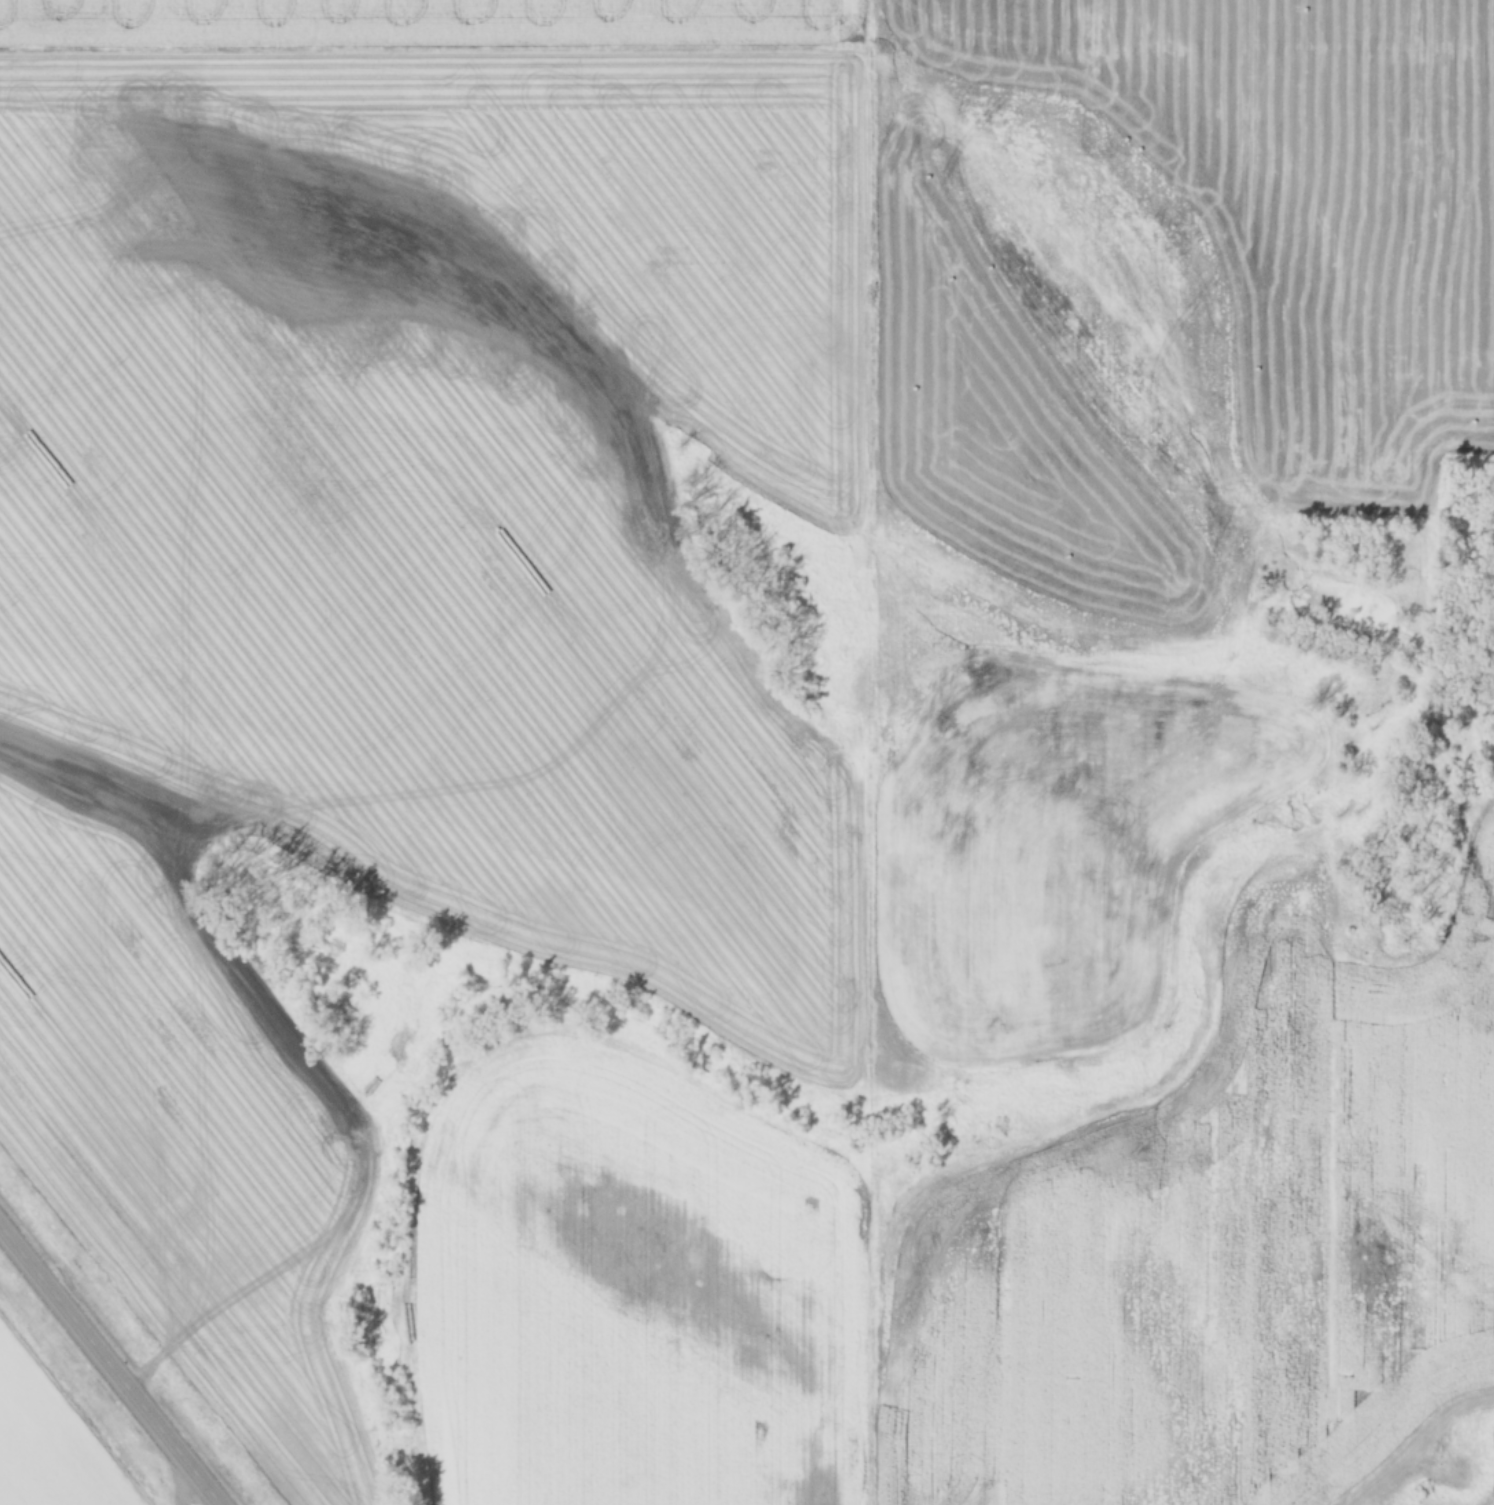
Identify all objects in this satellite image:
road: (112, 1363)

